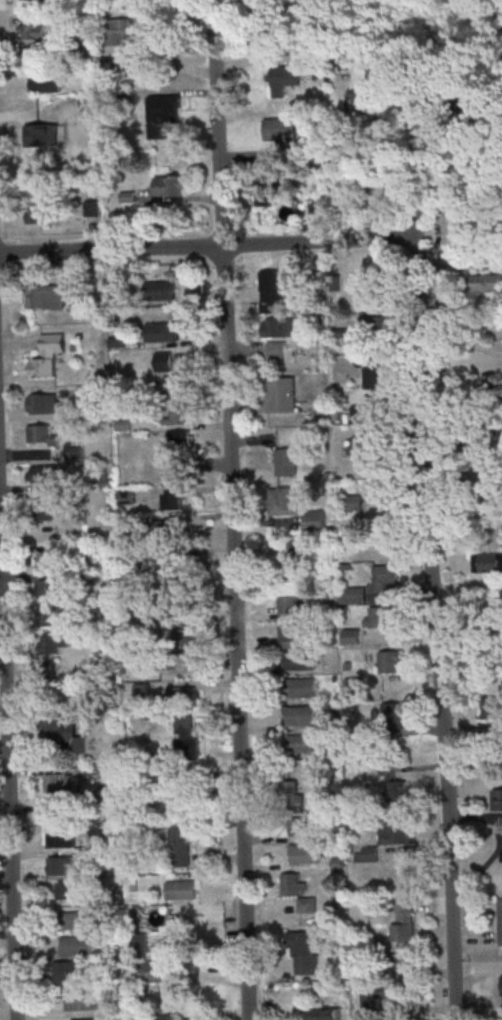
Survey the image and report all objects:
building: (30, 2)
river: (475, 29)
building: (33, 31)
building: (125, 41)
building: (32, 55)
building: (284, 78)
building: (45, 82)
building: (90, 102)
building: (162, 113)
building: (281, 132)
building: (42, 135)
road: (414, 174)
building: (170, 185)
building: (267, 190)
building: (93, 207)
building: (40, 211)
road: (112, 247)
road: (459, 259)
building: (485, 282)
building: (378, 287)
building: (160, 290)
building: (271, 291)
building: (51, 295)
building: (279, 327)
building: (381, 327)
building: (161, 331)
building: (276, 348)
building: (48, 355)
building: (163, 360)
building: (381, 373)
building: (175, 385)
building: (282, 394)
building: (44, 403)
building: (179, 415)
building: (41, 435)
building: (182, 438)
building: (365, 445)
building: (73, 450)
building: (287, 461)
building: (172, 470)
building: (44, 472)
road: (463, 476)
building: (174, 500)
building: (282, 501)
building: (353, 502)
building: (44, 508)
building: (383, 517)
building: (314, 520)
road: (233, 521)
building: (172, 526)
road: (426, 538)
building: (47, 560)
building: (490, 561)
building: (295, 562)
building: (177, 570)
building: (383, 578)
building: (48, 588)
building: (351, 594)
building: (289, 607)
building: (51, 616)
building: (379, 616)
building: (291, 635)
building: (351, 635)
building: (188, 636)
building: (54, 643)
building: (300, 659)
building: (390, 661)
building: (52, 674)
building: (301, 687)
building: (353, 687)
building: (142, 689)
building: (181, 694)
building: (493, 706)
building: (301, 715)
building: (394, 715)
building: (184, 732)
building: (64, 733)
building: (302, 743)
building: (109, 772)
building: (171, 777)
building: (58, 782)
building: (394, 785)
road: (7, 795)
building: (293, 795)
building: (496, 799)
building: (177, 801)
building: (50, 810)
building: (302, 825)
building: (393, 831)
building: (60, 837)
building: (180, 845)
building: (305, 853)
building: (369, 853)
building: (57, 865)
building: (292, 884)
building: (70, 889)
building: (178, 889)
building: (78, 919)
building: (403, 919)
building: (499, 920)
building: (139, 944)
building: (76, 945)
building: (303, 952)
building: (403, 961)
building: (69, 971)
building: (152, 971)
building: (81, 1000)
building: (373, 1000)
building: (323, 1013)
building: (82, 1019)
building: (194, 1019)

